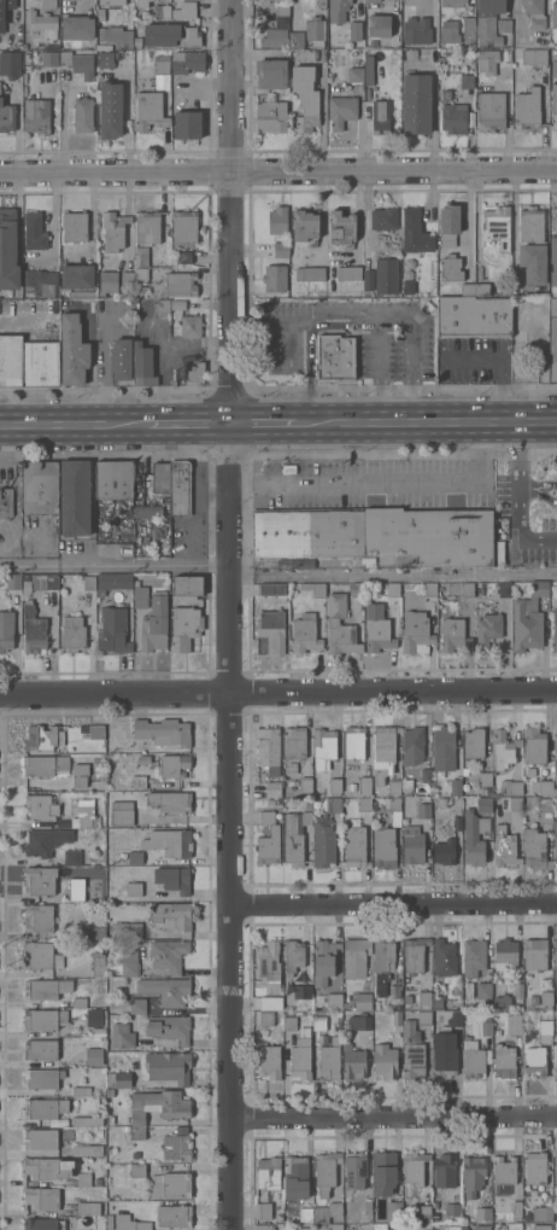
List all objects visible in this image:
building: (110, 1)
building: (264, 1)
building: (371, 1)
building: (142, 2)
building: (453, 2)
building: (48, 4)
building: (321, 4)
building: (184, 10)
building: (338, 10)
building: (160, 11)
building: (535, 13)
building: (555, 14)
building: (1, 21)
building: (489, 22)
building: (503, 25)
building: (41, 27)
building: (379, 27)
building: (76, 28)
building: (315, 28)
building: (468, 28)
building: (277, 29)
building: (354, 30)
building: (416, 30)
building: (448, 31)
building: (116, 35)
building: (170, 35)
building: (295, 39)
building: (136, 41)
building: (373, 42)
building: (505, 58)
building: (535, 58)
building: (49, 59)
building: (105, 59)
building: (187, 62)
building: (488, 62)
building: (10, 64)
building: (77, 64)
building: (160, 64)
building: (368, 69)
building: (270, 74)
building: (356, 75)
building: (467, 82)
building: (446, 94)
building: (305, 98)
building: (416, 104)
building: (555, 105)
building: (527, 109)
building: (110, 110)
building: (149, 111)
building: (341, 111)
building: (491, 112)
building: (82, 113)
building: (36, 116)
building: (271, 116)
building: (380, 117)
building: (6, 118)
building: (453, 118)
building: (186, 124)
road: (277, 169)
building: (382, 218)
building: (556, 220)
building: (277, 221)
building: (529, 225)
building: (304, 226)
building: (448, 226)
building: (74, 227)
building: (341, 227)
building: (496, 227)
building: (147, 228)
building: (184, 228)
building: (113, 231)
building: (34, 232)
building: (415, 232)
building: (8, 250)
building: (281, 250)
building: (141, 257)
building: (182, 257)
building: (553, 261)
building: (532, 263)
building: (450, 269)
building: (348, 273)
building: (141, 274)
building: (310, 274)
building: (76, 276)
building: (386, 276)
building: (127, 278)
building: (274, 278)
building: (368, 280)
building: (41, 282)
building: (106, 282)
building: (180, 284)
building: (481, 288)
building: (468, 290)
building: (177, 304)
building: (162, 307)
building: (473, 316)
road: (369, 317)
building: (190, 327)
building: (552, 339)
building: (72, 351)
building: (335, 357)
building: (11, 360)
building: (121, 360)
building: (40, 363)
building: (142, 365)
road: (379, 371)
building: (195, 373)
road: (426, 422)
road: (188, 424)
road: (263, 424)
road: (74, 425)
building: (115, 479)
road: (383, 482)
building: (182, 485)
building: (40, 488)
building: (157, 492)
road: (516, 494)
building: (75, 497)
building: (5, 502)
building: (309, 534)
building: (430, 535)
road: (277, 572)
building: (25, 578)
building: (13, 581)
building: (113, 581)
building: (51, 582)
building: (88, 583)
building: (187, 588)
building: (315, 588)
building: (271, 589)
building: (430, 589)
building: (468, 589)
building: (357, 590)
building: (394, 590)
building: (505, 590)
building: (139, 597)
road: (230, 614)
building: (528, 618)
building: (154, 623)
building: (184, 626)
building: (340, 626)
building: (379, 629)
building: (6, 630)
building: (112, 630)
building: (487, 630)
building: (33, 631)
building: (272, 631)
building: (553, 631)
building: (304, 634)
building: (417, 634)
building: (72, 635)
building: (455, 635)
road: (278, 695)
building: (95, 731)
building: (163, 731)
building: (40, 738)
building: (294, 742)
building: (353, 742)
building: (474, 744)
building: (415, 745)
building: (533, 746)
building: (323, 748)
building: (268, 750)
building: (442, 750)
building: (383, 751)
building: (503, 751)
building: (555, 756)
building: (143, 759)
building: (45, 764)
building: (174, 766)
building: (292, 768)
building: (80, 775)
building: (424, 775)
building: (483, 780)
building: (406, 781)
building: (137, 782)
building: (335, 785)
building: (304, 786)
building: (364, 786)
building: (351, 787)
building: (394, 787)
building: (455, 787)
building: (541, 787)
building: (510, 788)
building: (272, 789)
building: (169, 801)
building: (307, 804)
building: (364, 804)
building: (393, 804)
building: (515, 804)
building: (333, 805)
building: (483, 805)
building: (37, 808)
building: (545, 810)
building: (423, 811)
building: (122, 814)
building: (84, 815)
building: (266, 817)
building: (305, 818)
building: (395, 820)
building: (457, 823)
building: (474, 836)
building: (45, 841)
building: (555, 841)
building: (169, 843)
building: (292, 843)
building: (323, 845)
building: (412, 845)
building: (268, 846)
building: (504, 846)
building: (354, 847)
building: (383, 849)
building: (535, 850)
building: (444, 852)
building: (88, 856)
building: (71, 857)
building: (135, 857)
building: (174, 879)
building: (39, 880)
building: (76, 890)
building: (133, 890)
road: (393, 904)
building: (172, 916)
building: (37, 919)
building: (129, 931)
building: (98, 933)
building: (505, 951)
building: (555, 952)
building: (535, 954)
building: (168, 955)
building: (414, 955)
building: (40, 956)
building: (293, 957)
building: (356, 957)
building: (444, 957)
building: (473, 957)
building: (323, 961)
building: (269, 962)
building: (129, 963)
building: (382, 963)
building: (98, 964)
building: (46, 989)
building: (165, 990)
building: (301, 991)
building: (483, 991)
building: (517, 991)
building: (394, 993)
building: (417, 998)
building: (546, 998)
building: (334, 999)
building: (436, 999)
building: (111, 1001)
building: (78, 1002)
building: (363, 1002)
building: (502, 1002)
building: (270, 1003)
building: (136, 1005)
building: (113, 1010)
building: (94, 1018)
building: (395, 1018)
building: (423, 1018)
building: (43, 1019)
building: (265, 1019)
building: (455, 1019)
building: (358, 1022)
building: (288, 1024)
building: (319, 1024)
building: (514, 1025)
building: (169, 1027)
building: (544, 1027)
building: (486, 1028)
building: (122, 1036)
building: (40, 1049)
building: (411, 1053)
building: (444, 1053)
building: (93, 1056)
building: (473, 1059)
building: (329, 1060)
building: (556, 1060)
building: (300, 1061)
building: (535, 1061)
building: (269, 1062)
building: (385, 1062)
building: (504, 1062)
building: (353, 1063)
building: (168, 1066)
building: (42, 1078)
building: (118, 1079)
building: (81, 1091)
building: (110, 1092)
building: (159, 1106)
building: (43, 1108)
road: (393, 1118)
building: (110, 1119)
building: (87, 1120)
building: (98, 1132)
building: (136, 1132)
building: (40, 1138)
building: (176, 1146)
building: (87, 1150)
building: (534, 1167)
building: (47, 1168)
building: (414, 1168)
building: (137, 1170)
building: (354, 1170)
building: (504, 1170)
building: (556, 1170)
building: (444, 1171)
building: (326, 1172)
building: (385, 1172)
building: (266, 1173)
building: (473, 1176)
building: (295, 1177)
building: (83, 1179)
building: (98, 1182)
building: (171, 1184)
building: (41, 1199)
building: (368, 1207)
building: (87, 1208)
building: (516, 1208)
building: (452, 1209)
building: (263, 1211)
building: (392, 1211)
building: (327, 1212)
building: (423, 1212)
building: (482, 1213)
building: (540, 1213)
building: (306, 1214)
building: (174, 1216)
building: (109, 1222)
building: (129, 1223)
building: (40, 1224)
building: (397, 1225)
building: (336, 1226)
building: (365, 1226)
building: (379, 1226)
building: (540, 1226)
building: (262, 1228)
building: (456, 1228)
building: (481, 1228)
building: (305, 1229)

